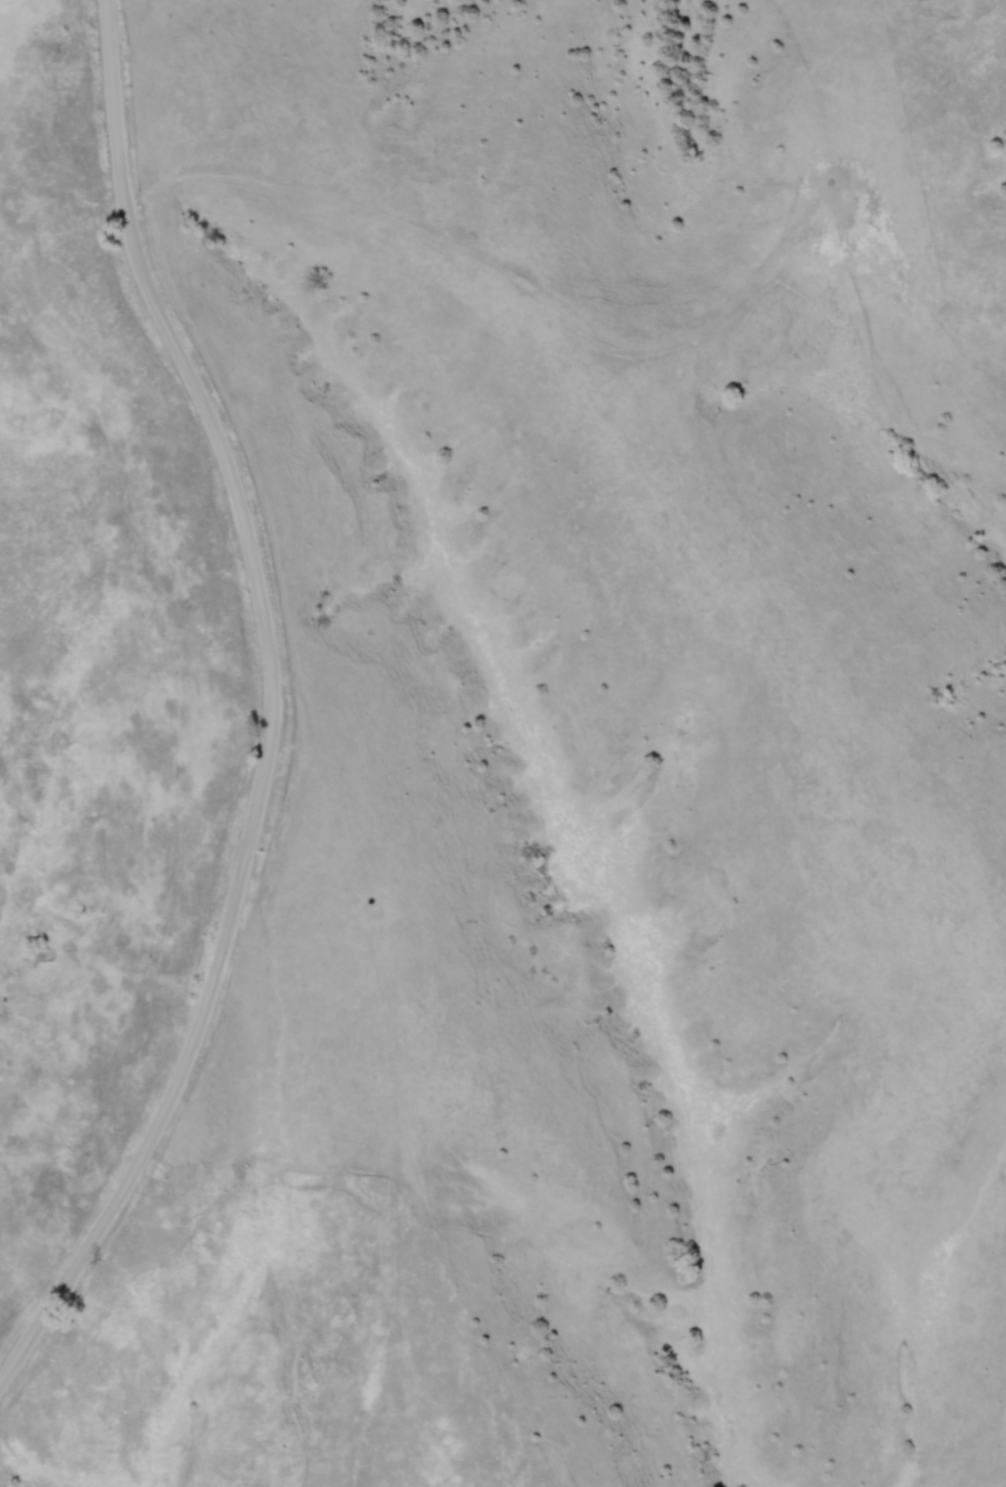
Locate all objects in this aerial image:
road: (274, 709)

